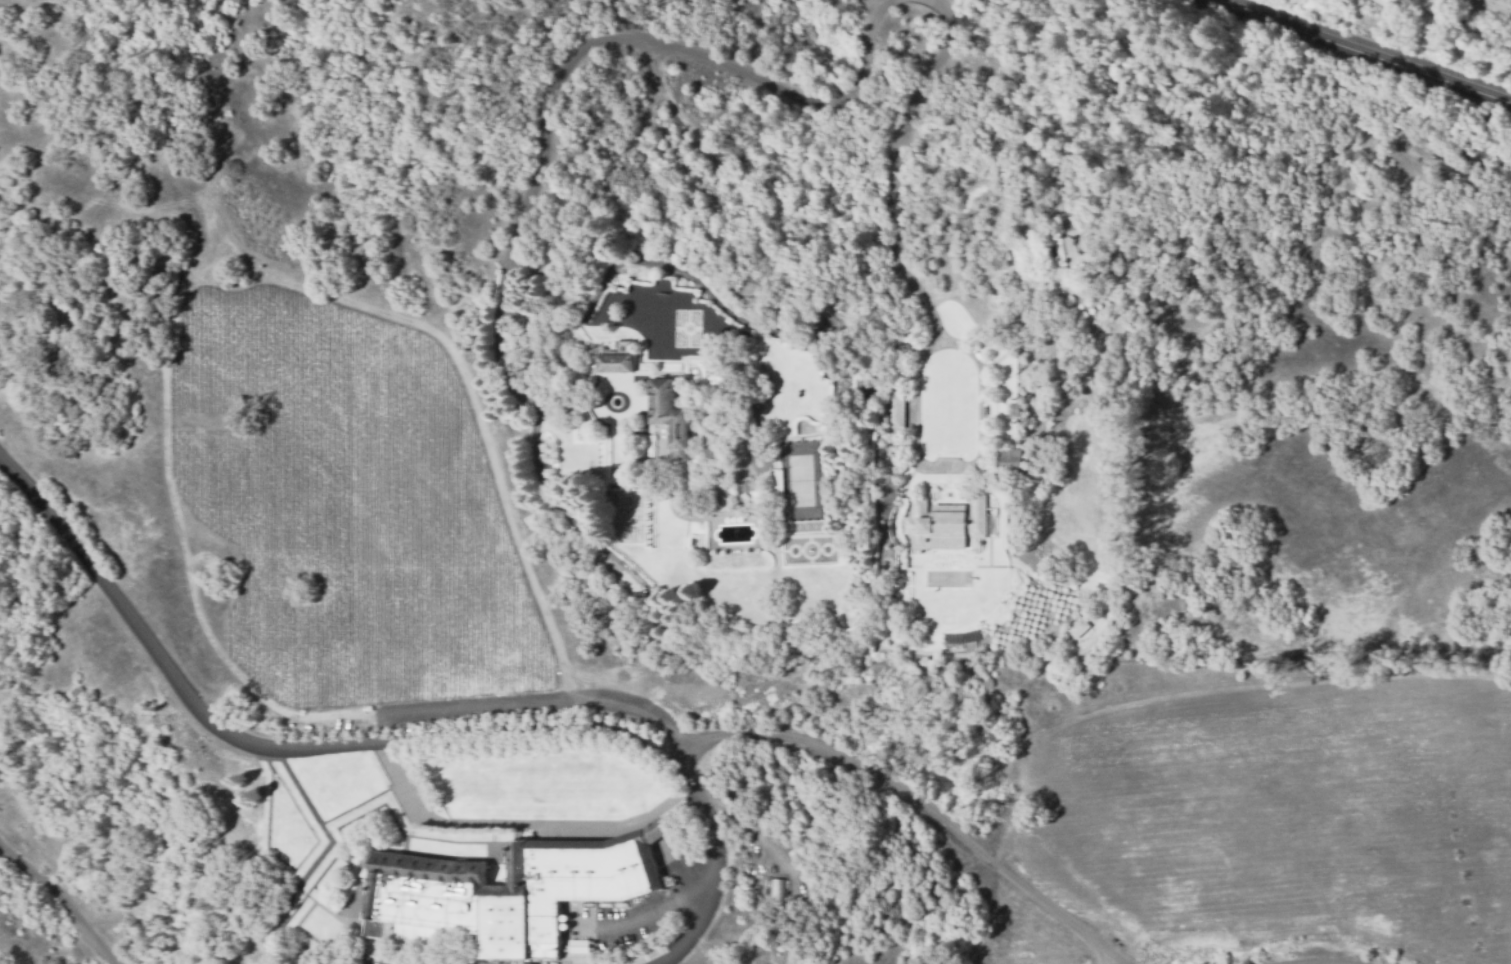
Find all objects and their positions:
road: (586, 47)
road: (1368, 52)
building: (1474, 166)
building: (1449, 175)
building: (1501, 177)
building: (1067, 249)
building: (1113, 262)
building: (613, 363)
building: (856, 382)
building: (857, 394)
building: (869, 395)
road: (573, 403)
building: (891, 409)
building: (1010, 410)
building: (668, 420)
building: (1008, 461)
building: (774, 482)
building: (944, 524)
building: (1077, 627)
road: (445, 738)
building: (753, 867)
road: (710, 870)
building: (771, 891)
building: (507, 892)
road: (63, 898)
road: (1053, 907)
building: (578, 945)

